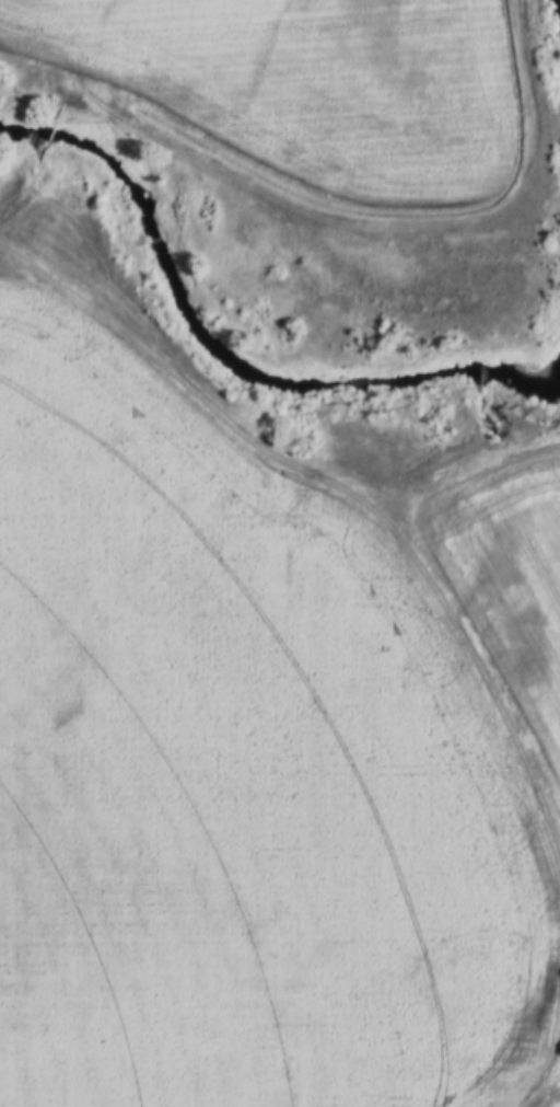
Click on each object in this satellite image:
road: (415, 223)
road: (490, 464)
road: (290, 474)
road: (544, 1098)

